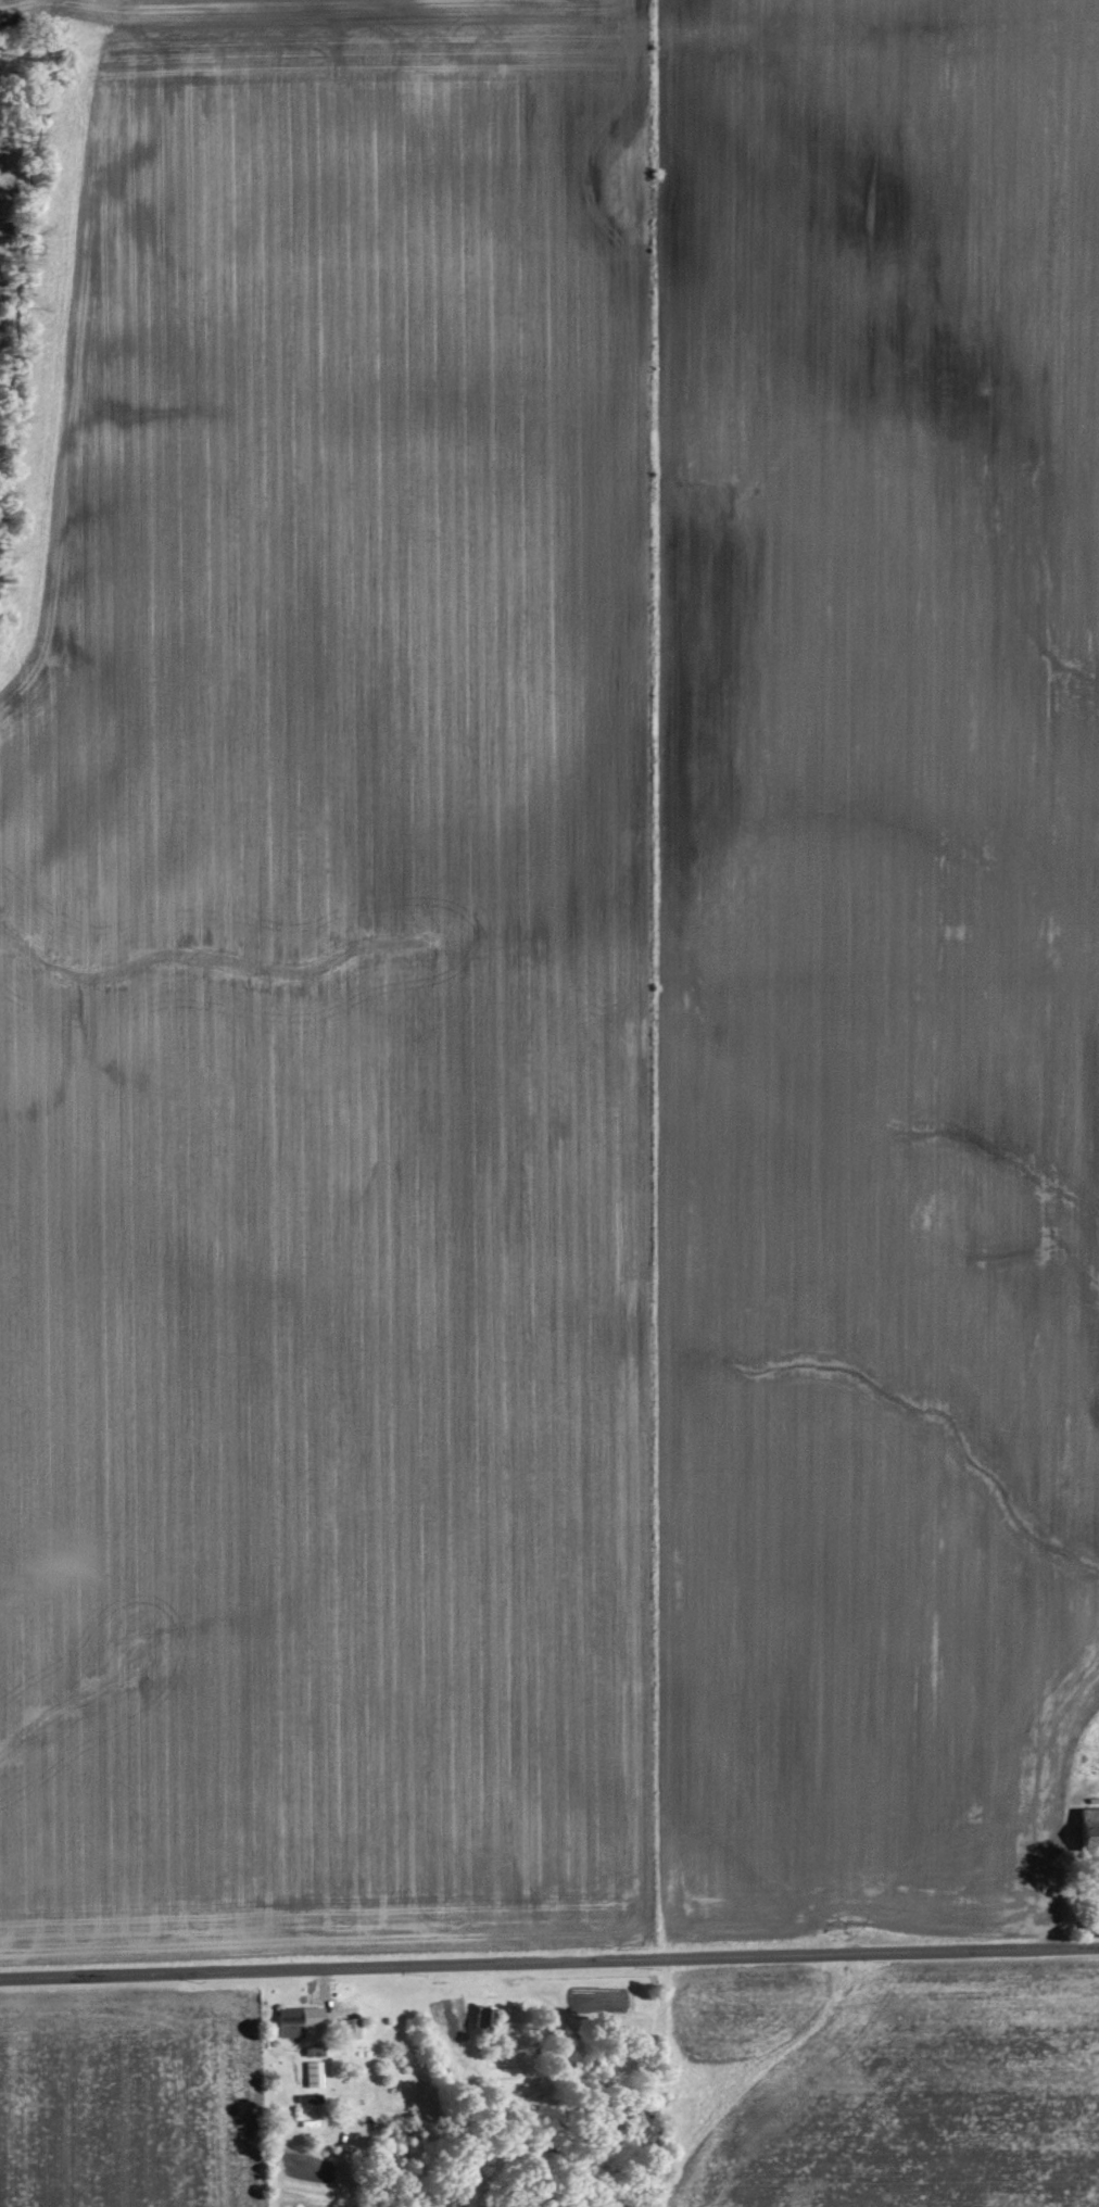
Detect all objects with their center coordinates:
building: (1085, 1829)
road: (549, 1962)
building: (294, 2020)
building: (345, 2028)
building: (310, 2074)

